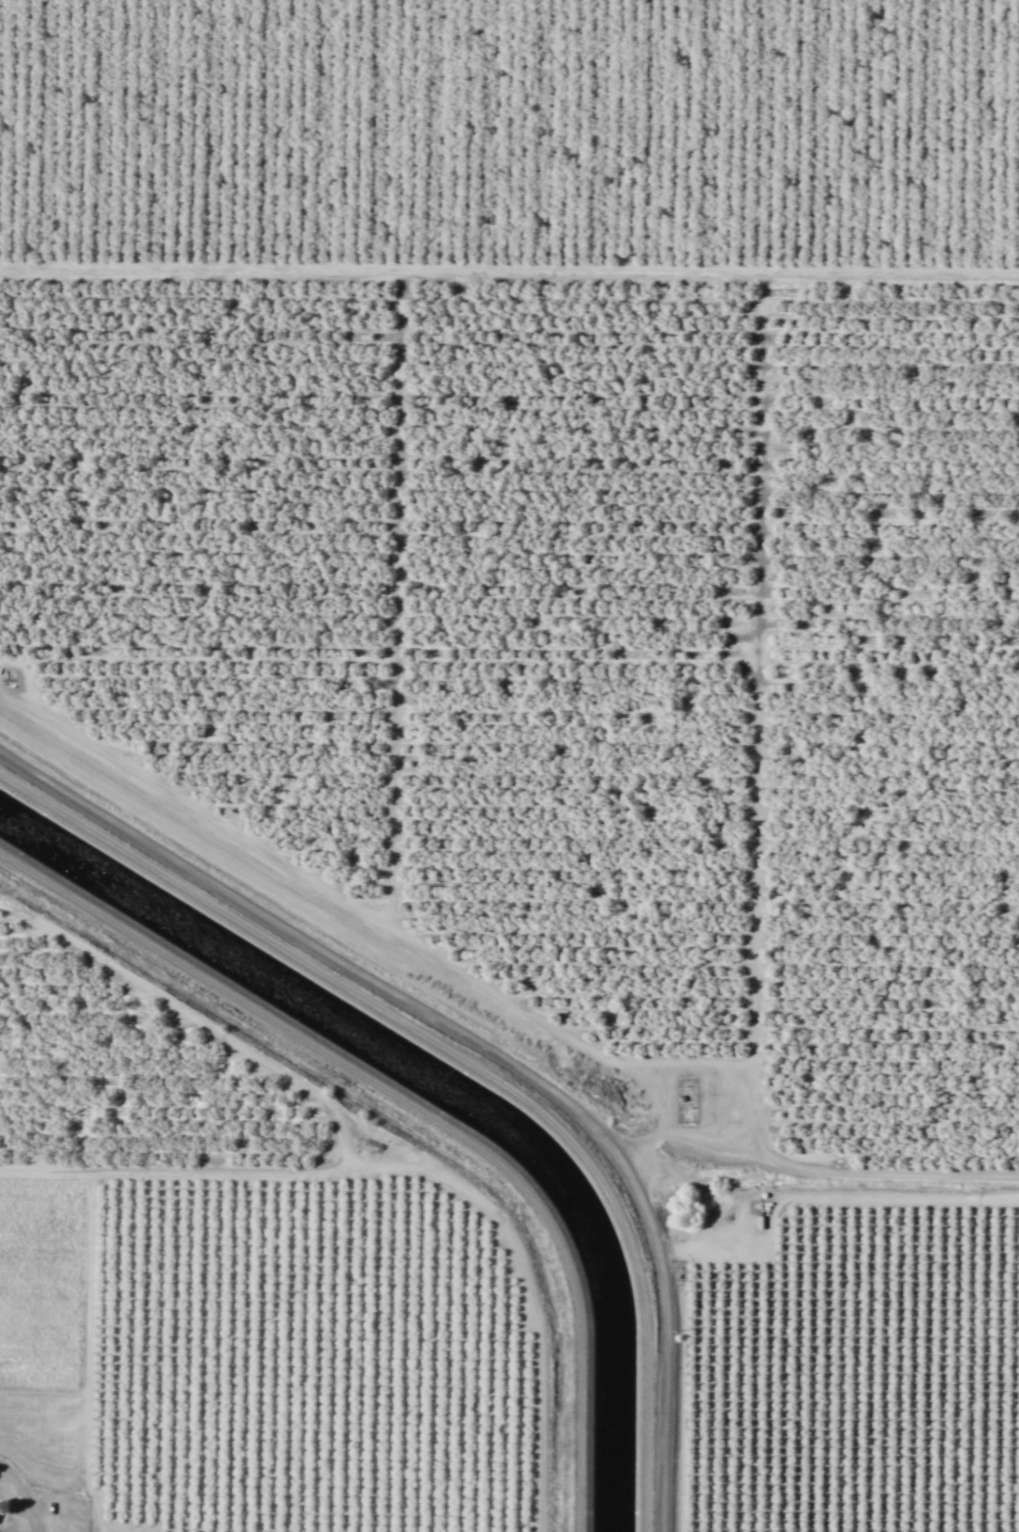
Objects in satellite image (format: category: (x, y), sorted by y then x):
road: (509, 269)
road: (212, 1030)
road: (477, 1045)
road: (463, 1060)
road: (418, 1167)
crop: (43, 1321)
road: (18, 1497)

